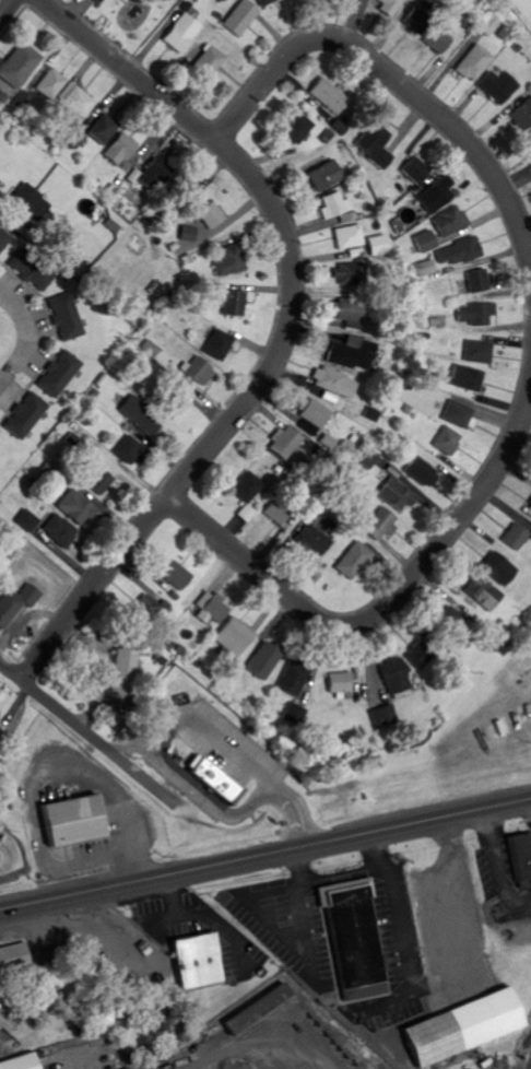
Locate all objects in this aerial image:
building: (264, 2)
road: (5, 8)
building: (240, 17)
building: (415, 20)
building: (181, 33)
building: (436, 40)
building: (209, 62)
building: (474, 63)
building: (20, 66)
building: (51, 84)
road: (399, 84)
building: (497, 86)
building: (329, 96)
building: (75, 102)
building: (522, 115)
building: (297, 128)
building: (104, 129)
building: (530, 134)
building: (76, 140)
building: (375, 145)
building: (120, 150)
building: (415, 169)
building: (157, 173)
building: (324, 176)
building: (186, 186)
building: (436, 196)
building: (28, 202)
building: (338, 208)
building: (211, 215)
building: (450, 222)
building: (188, 233)
building: (349, 237)
building: (3, 240)
building: (424, 242)
building: (377, 246)
building: (459, 252)
building: (229, 261)
building: (426, 269)
building: (29, 271)
building: (351, 274)
building: (479, 281)
building: (228, 301)
building: (347, 314)
building: (476, 315)
building: (66, 317)
road: (284, 333)
building: (219, 345)
building: (480, 353)
building: (351, 354)
building: (199, 372)
building: (59, 375)
building: (467, 378)
building: (333, 385)
building: (315, 414)
building: (458, 414)
building: (25, 415)
building: (141, 415)
building: (447, 442)
building: (286, 443)
building: (129, 450)
building: (366, 457)
building: (420, 471)
building: (99, 482)
building: (247, 487)
building: (396, 495)
building: (76, 508)
building: (278, 512)
building: (529, 512)
building: (27, 520)
building: (379, 524)
building: (60, 531)
building: (315, 537)
building: (516, 537)
building: (355, 562)
building: (498, 569)
building: (174, 573)
building: (483, 594)
road: (394, 598)
building: (16, 604)
building: (147, 609)
building: (213, 609)
building: (451, 622)
building: (237, 637)
building: (420, 656)
building: (265, 661)
building: (123, 673)
building: (394, 676)
building: (294, 679)
building: (340, 683)
building: (2, 700)
building: (294, 715)
building: (383, 717)
building: (2, 732)
road: (87, 732)
building: (213, 779)
building: (74, 821)
building: (1, 827)
road: (265, 854)
building: (520, 857)
building: (354, 940)
building: (198, 959)
building: (14, 960)
building: (96, 970)
building: (260, 1011)
building: (9, 1015)
building: (463, 1026)
building: (21, 1062)

